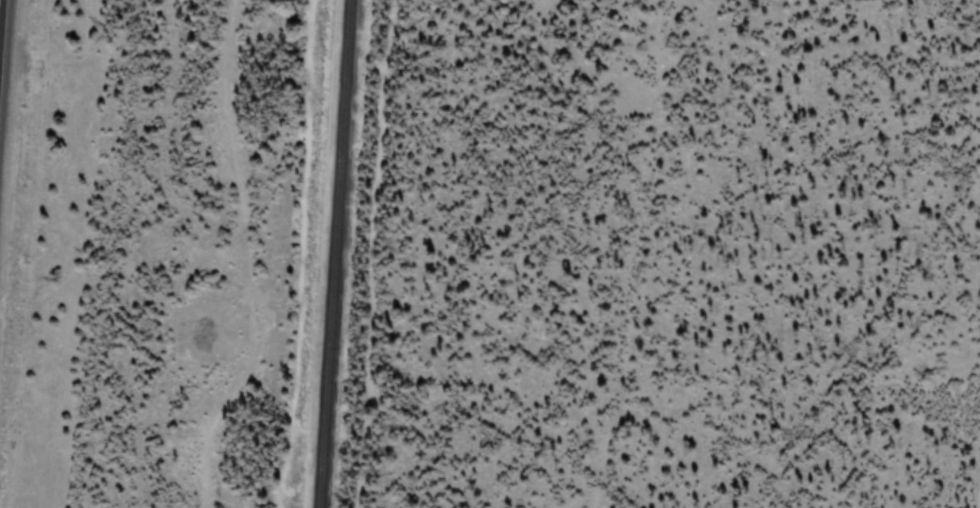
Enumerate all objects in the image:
railway: (332, 253)

